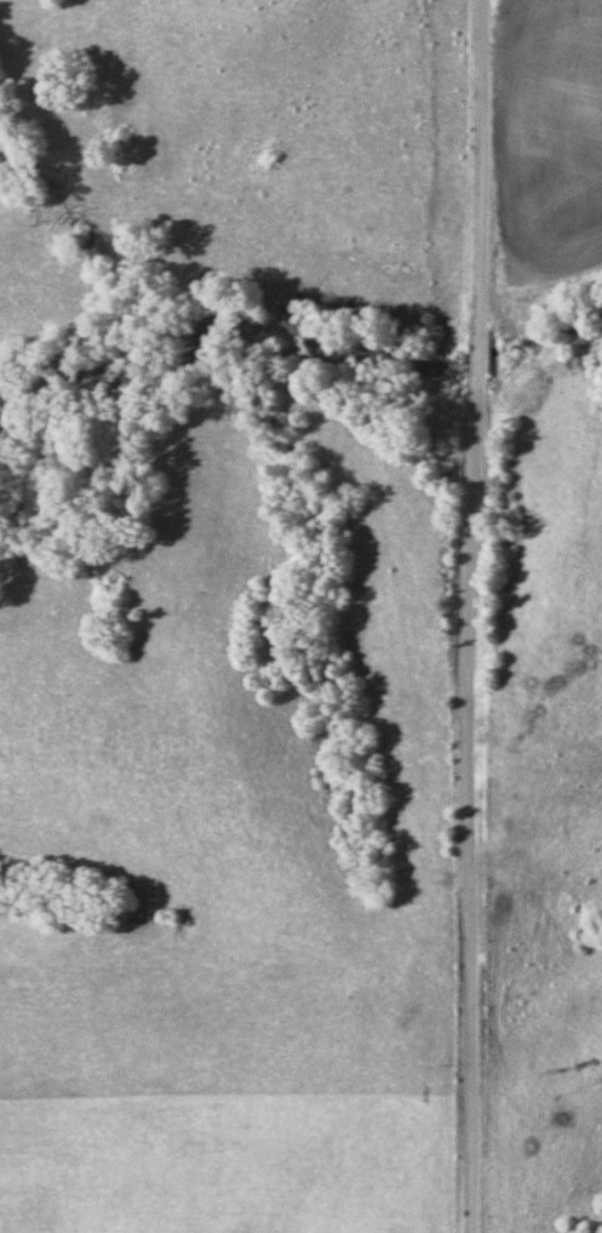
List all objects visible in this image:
road: (472, 616)

